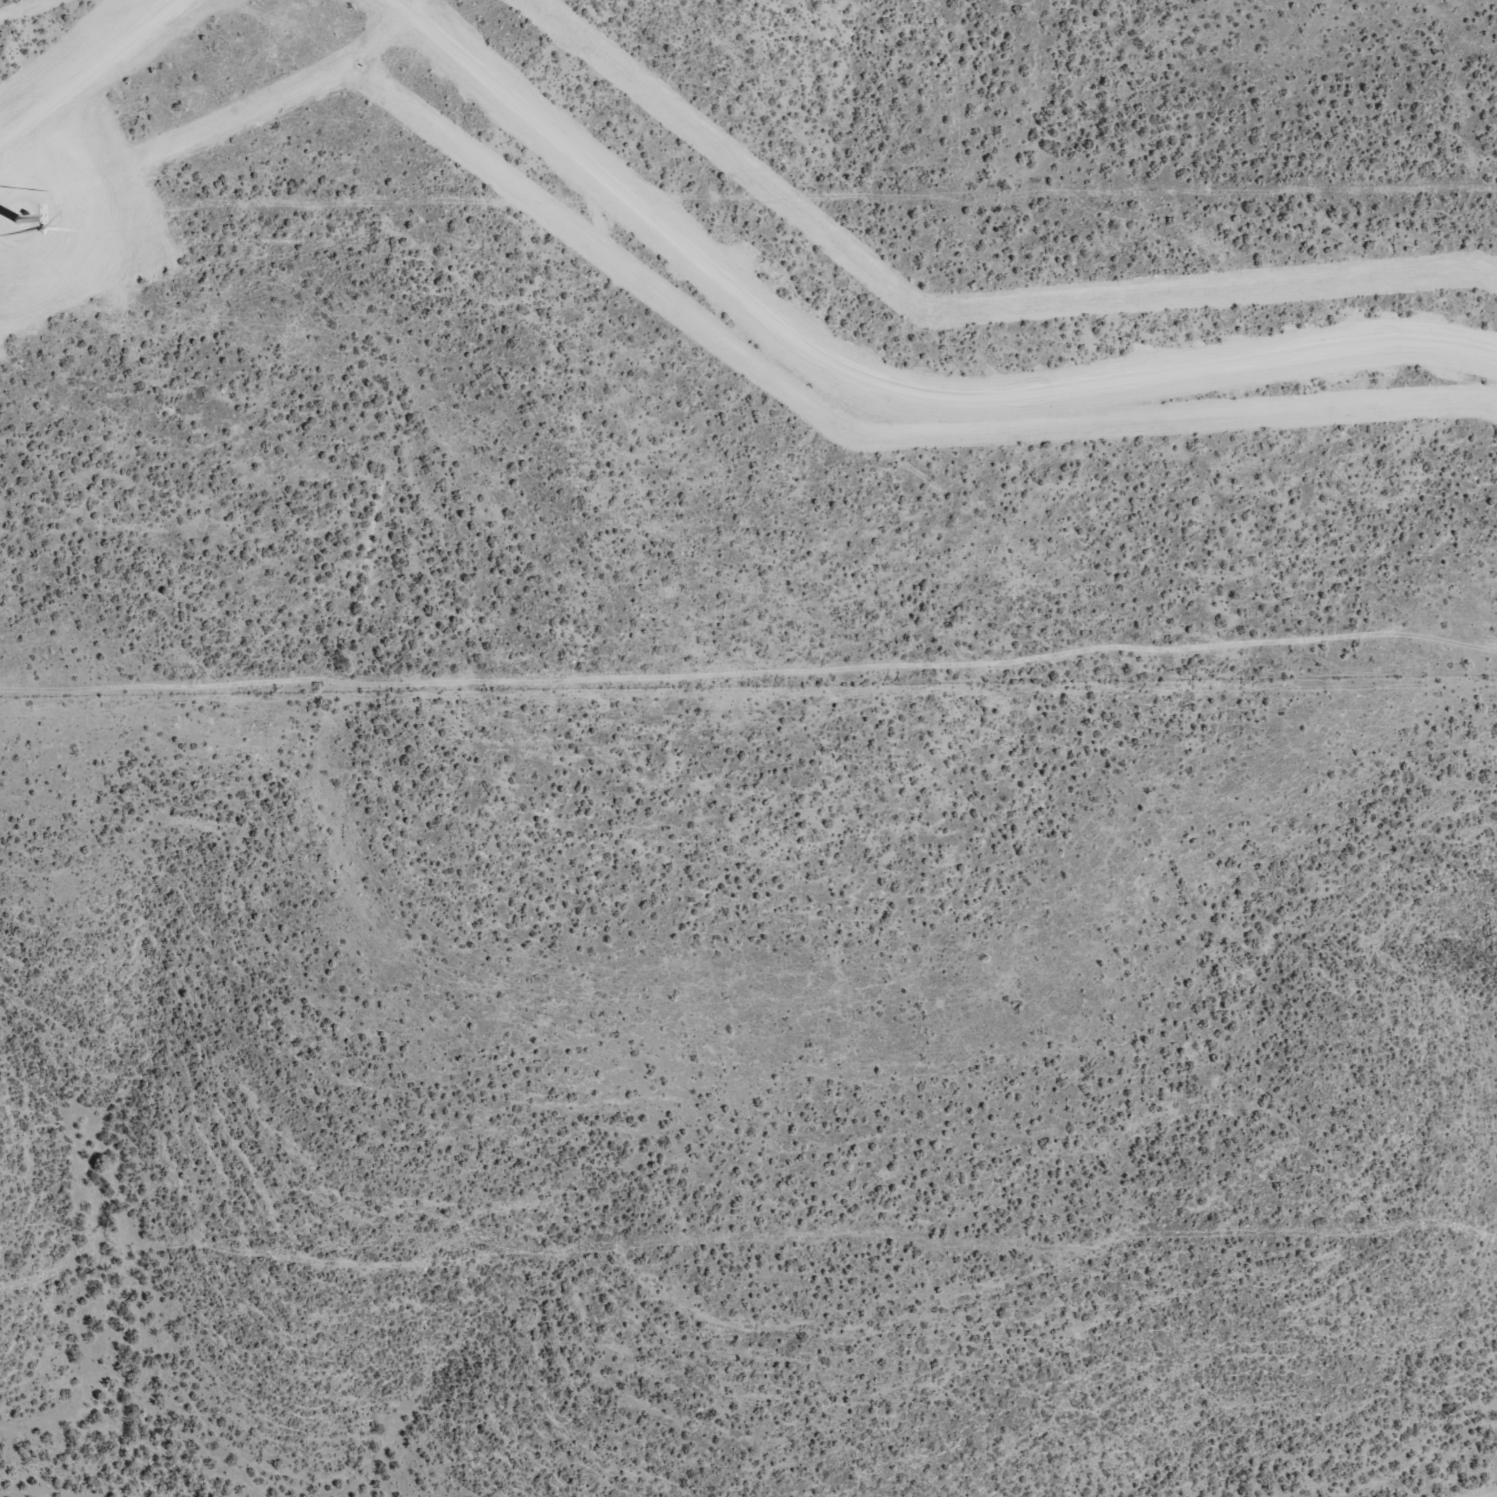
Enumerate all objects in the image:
wind turbine: (22, 216)

